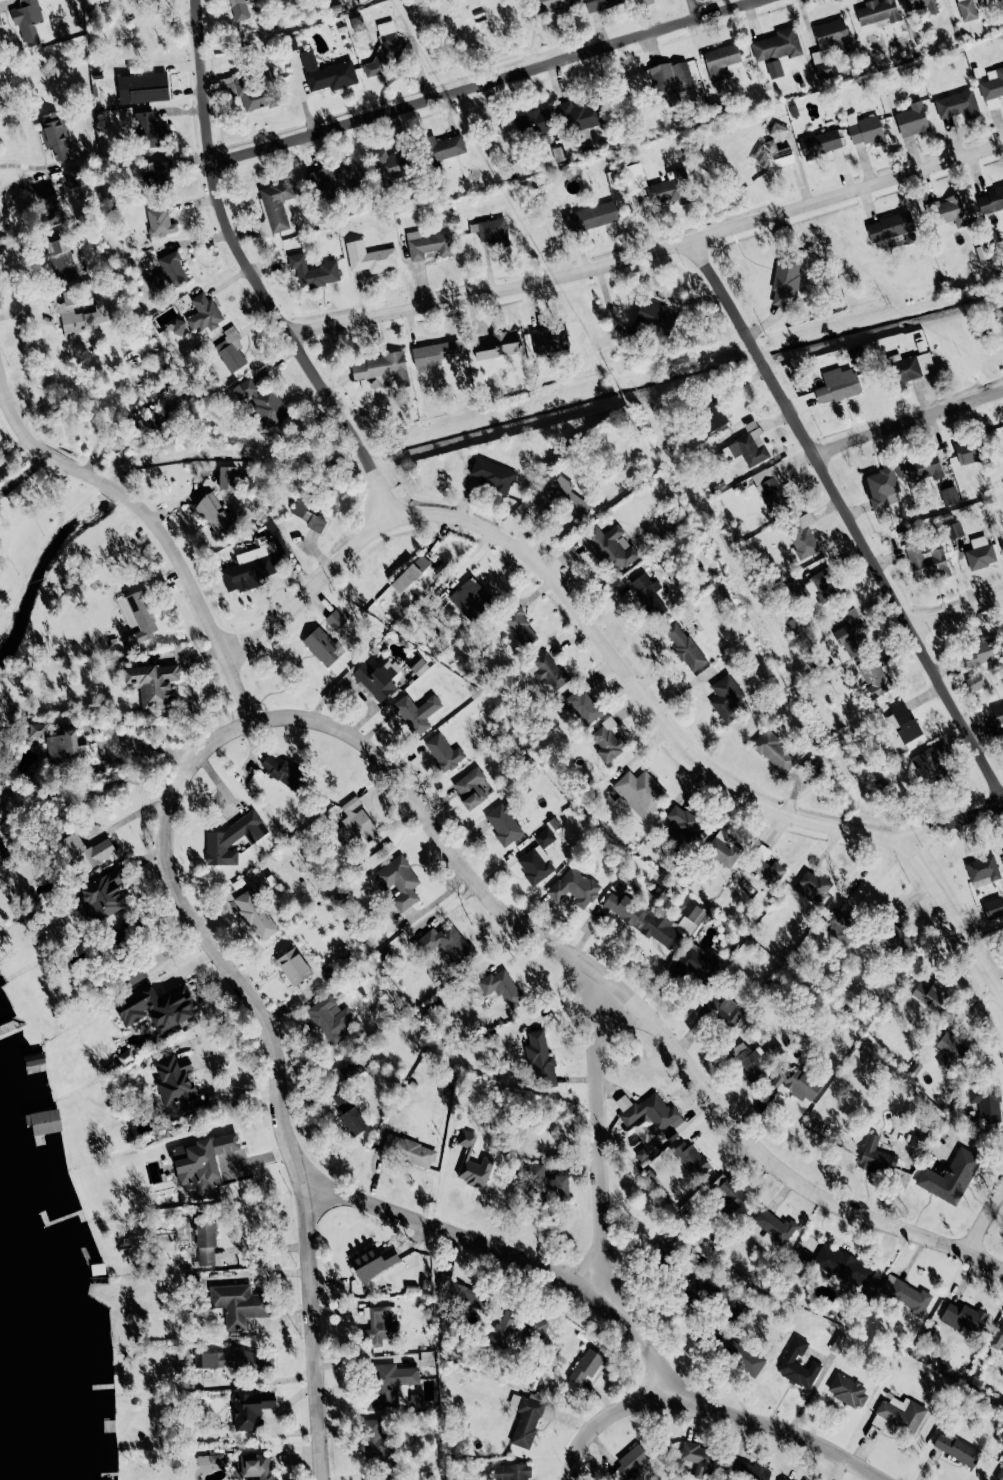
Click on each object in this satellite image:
building: (644, 1)
building: (550, 4)
building: (600, 4)
building: (922, 6)
building: (240, 9)
building: (967, 10)
building: (877, 11)
building: (30, 23)
building: (832, 35)
building: (776, 45)
building: (386, 50)
building: (721, 59)
building: (821, 65)
building: (327, 73)
road: (478, 81)
building: (671, 81)
building: (142, 87)
building: (992, 87)
building: (252, 90)
building: (958, 105)
building: (579, 115)
building: (912, 119)
building: (534, 122)
building: (149, 131)
building: (778, 131)
building: (866, 131)
building: (54, 133)
building: (820, 143)
building: (444, 147)
building: (775, 157)
building: (391, 165)
building: (158, 173)
building: (73, 176)
building: (634, 176)
road: (27, 179)
building: (333, 179)
building: (670, 188)
building: (990, 200)
building: (277, 203)
building: (48, 205)
building: (950, 210)
building: (591, 216)
building: (160, 222)
building: (892, 227)
building: (492, 230)
building: (427, 245)
road: (650, 251)
building: (369, 257)
building: (60, 260)
road: (247, 271)
building: (313, 271)
building: (167, 274)
building: (785, 281)
building: (204, 313)
building: (79, 315)
building: (1001, 317)
building: (549, 339)
building: (497, 345)
building: (232, 350)
building: (434, 353)
building: (913, 366)
building: (382, 368)
building: (837, 386)
building: (265, 406)
building: (159, 409)
building: (713, 414)
road: (906, 423)
building: (968, 451)
building: (923, 466)
building: (492, 474)
road: (24, 475)
building: (227, 477)
building: (771, 484)
building: (881, 489)
building: (949, 495)
building: (566, 496)
road: (130, 500)
building: (308, 513)
building: (213, 514)
road: (847, 521)
building: (954, 529)
building: (803, 534)
building: (1001, 541)
building: (611, 547)
building: (980, 552)
building: (926, 562)
building: (254, 566)
building: (411, 574)
building: (825, 584)
building: (647, 591)
building: (470, 598)
road: (566, 600)
road: (956, 612)
building: (142, 615)
building: (335, 619)
building: (518, 625)
building: (851, 633)
building: (322, 646)
building: (684, 646)
building: (982, 652)
building: (414, 662)
building: (547, 670)
building: (874, 676)
building: (376, 677)
building: (974, 682)
building: (153, 684)
road: (237, 690)
building: (726, 697)
building: (582, 707)
building: (416, 712)
building: (999, 720)
building: (905, 722)
building: (37, 730)
building: (607, 741)
road: (148, 746)
building: (66, 751)
building: (774, 751)
building: (444, 752)
building: (930, 763)
building: (812, 765)
building: (284, 772)
road: (87, 787)
building: (470, 788)
building: (640, 792)
road: (949, 821)
building: (354, 822)
building: (504, 824)
building: (544, 837)
building: (233, 838)
building: (725, 849)
building: (87, 851)
building: (1002, 851)
building: (535, 864)
building: (983, 870)
building: (399, 881)
building: (572, 885)
building: (813, 887)
building: (103, 895)
building: (622, 907)
building: (993, 907)
building: (255, 914)
building: (691, 918)
road: (952, 921)
building: (839, 925)
building: (661, 930)
building: (894, 933)
building: (446, 943)
building: (697, 963)
building: (293, 966)
building: (133, 975)
building: (502, 987)
road: (622, 993)
building: (930, 996)
building: (156, 1007)
building: (722, 1011)
building: (330, 1018)
building: (950, 1050)
building: (539, 1057)
building: (35, 1059)
building: (750, 1060)
road: (275, 1067)
building: (350, 1070)
building: (796, 1082)
building: (176, 1086)
building: (986, 1102)
building: (348, 1112)
building: (649, 1112)
building: (44, 1121)
building: (918, 1134)
road: (595, 1138)
building: (408, 1150)
building: (646, 1152)
building: (876, 1157)
building: (691, 1159)
building: (472, 1162)
building: (202, 1165)
building: (950, 1177)
building: (550, 1183)
building: (727, 1191)
road: (984, 1218)
building: (775, 1227)
building: (206, 1241)
building: (661, 1250)
building: (372, 1261)
building: (843, 1266)
building: (693, 1289)
building: (906, 1294)
building: (465, 1295)
building: (238, 1304)
road: (608, 1308)
building: (963, 1317)
building: (379, 1324)
building: (503, 1329)
building: (998, 1337)
building: (838, 1343)
building: (232, 1359)
building: (797, 1364)
building: (585, 1366)
building: (388, 1384)
building: (847, 1390)
building: (251, 1409)
building: (899, 1414)
road: (604, 1417)
building: (528, 1418)
building: (375, 1440)
building: (956, 1448)
building: (699, 1458)
building: (210, 1459)
building: (632, 1460)
building: (256, 1467)
building: (750, 1470)
building: (511, 1471)
building: (1000, 1474)
building: (372, 1479)
building: (785, 1479)

